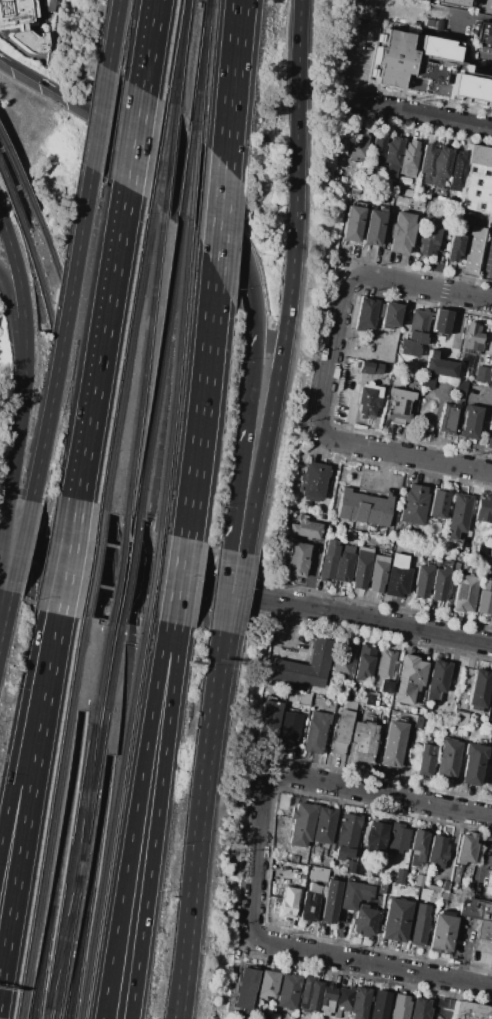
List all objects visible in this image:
building: (345, 0)
building: (454, 2)
building: (377, 3)
building: (491, 3)
road: (483, 8)
railway: (207, 12)
building: (375, 12)
building: (21, 24)
building: (433, 24)
building: (355, 31)
road: (112, 34)
building: (486, 36)
building: (432, 37)
road: (147, 44)
building: (491, 46)
railway: (177, 52)
railway: (180, 52)
building: (484, 53)
building: (392, 58)
road: (355, 75)
railway: (199, 77)
railway: (201, 79)
building: (453, 82)
road: (231, 83)
road: (423, 115)
road: (98, 118)
road: (133, 131)
road: (133, 138)
building: (356, 144)
building: (378, 150)
railway: (161, 152)
building: (393, 155)
railway: (168, 158)
building: (408, 159)
building: (434, 164)
building: (457, 169)
railway: (186, 172)
railway: (21, 178)
railway: (193, 179)
building: (476, 183)
railway: (11, 201)
building: (464, 218)
road: (219, 219)
building: (352, 224)
building: (373, 227)
building: (401, 232)
building: (429, 235)
building: (454, 242)
railway: (50, 248)
building: (472, 250)
railway: (38, 275)
road: (290, 278)
road: (252, 282)
road: (416, 285)
road: (489, 286)
road: (20, 292)
building: (364, 314)
building: (390, 315)
building: (418, 321)
building: (441, 321)
road: (62, 335)
road: (17, 337)
building: (416, 337)
building: (472, 339)
road: (100, 343)
building: (408, 348)
building: (432, 353)
railway: (127, 356)
building: (485, 359)
building: (491, 360)
railway: (144, 364)
railway: (159, 367)
building: (370, 367)
building: (440, 368)
building: (482, 374)
railway: (177, 378)
building: (490, 378)
building: (428, 381)
building: (459, 387)
building: (400, 401)
building: (366, 402)
road: (202, 405)
road: (488, 409)
building: (449, 419)
building: (471, 422)
road: (482, 423)
road: (243, 439)
road: (335, 440)
building: (489, 440)
road: (14, 450)
road: (383, 471)
building: (315, 480)
building: (438, 504)
building: (413, 505)
building: (364, 508)
building: (484, 510)
building: (458, 516)
road: (4, 523)
building: (491, 528)
building: (308, 529)
road: (21, 546)
building: (468, 547)
building: (347, 549)
building: (481, 550)
building: (417, 552)
building: (488, 552)
road: (65, 556)
building: (327, 559)
building: (297, 560)
building: (399, 560)
railway: (92, 564)
railway: (85, 565)
building: (456, 566)
building: (343, 567)
railway: (117, 569)
building: (360, 569)
railway: (117, 570)
railway: (127, 572)
building: (377, 573)
road: (148, 574)
railway: (152, 576)
road: (179, 580)
building: (423, 580)
building: (397, 581)
building: (439, 584)
building: (486, 585)
road: (223, 590)
road: (237, 593)
building: (465, 593)
building: (484, 603)
road: (5, 608)
building: (491, 617)
road: (394, 624)
road: (292, 625)
building: (342, 657)
building: (364, 663)
building: (305, 665)
building: (385, 671)
building: (409, 678)
building: (437, 679)
building: (267, 687)
road: (213, 688)
road: (220, 689)
building: (478, 689)
road: (33, 700)
building: (270, 722)
building: (421, 722)
building: (289, 729)
building: (316, 731)
building: (341, 732)
building: (363, 737)
building: (393, 744)
building: (448, 758)
building: (426, 760)
building: (472, 763)
railway: (87, 792)
road: (29, 797)
road: (391, 798)
railway: (69, 810)
road: (5, 815)
railway: (51, 818)
railway: (113, 819)
road: (133, 820)
railway: (77, 821)
road: (155, 821)
railway: (87, 822)
building: (302, 824)
building: (324, 825)
building: (348, 830)
railway: (99, 835)
building: (376, 835)
building: (397, 839)
building: (418, 845)
road: (199, 846)
building: (465, 848)
building: (437, 851)
building: (342, 853)
building: (293, 858)
building: (403, 862)
road: (479, 863)
building: (350, 867)
building: (298, 869)
building: (318, 873)
building: (419, 880)
building: (445, 886)
building: (315, 888)
building: (434, 888)
building: (491, 890)
building: (354, 894)
building: (330, 901)
building: (288, 902)
building: (309, 906)
building: (476, 908)
building: (421, 910)
building: (395, 919)
building: (364, 921)
building: (418, 929)
building: (484, 931)
building: (442, 932)
railway: (62, 945)
road: (288, 946)
railway: (43, 963)
railway: (44, 963)
railway: (77, 966)
railway: (79, 966)
road: (181, 983)
road: (186, 983)
building: (267, 984)
building: (245, 988)
building: (306, 990)
building: (288, 991)
building: (315, 996)
building: (343, 998)
building: (327, 999)
road: (447, 999)
building: (359, 1003)
building: (379, 1005)
building: (400, 1007)
building: (420, 1008)
building: (471, 1011)
building: (344, 1015)

